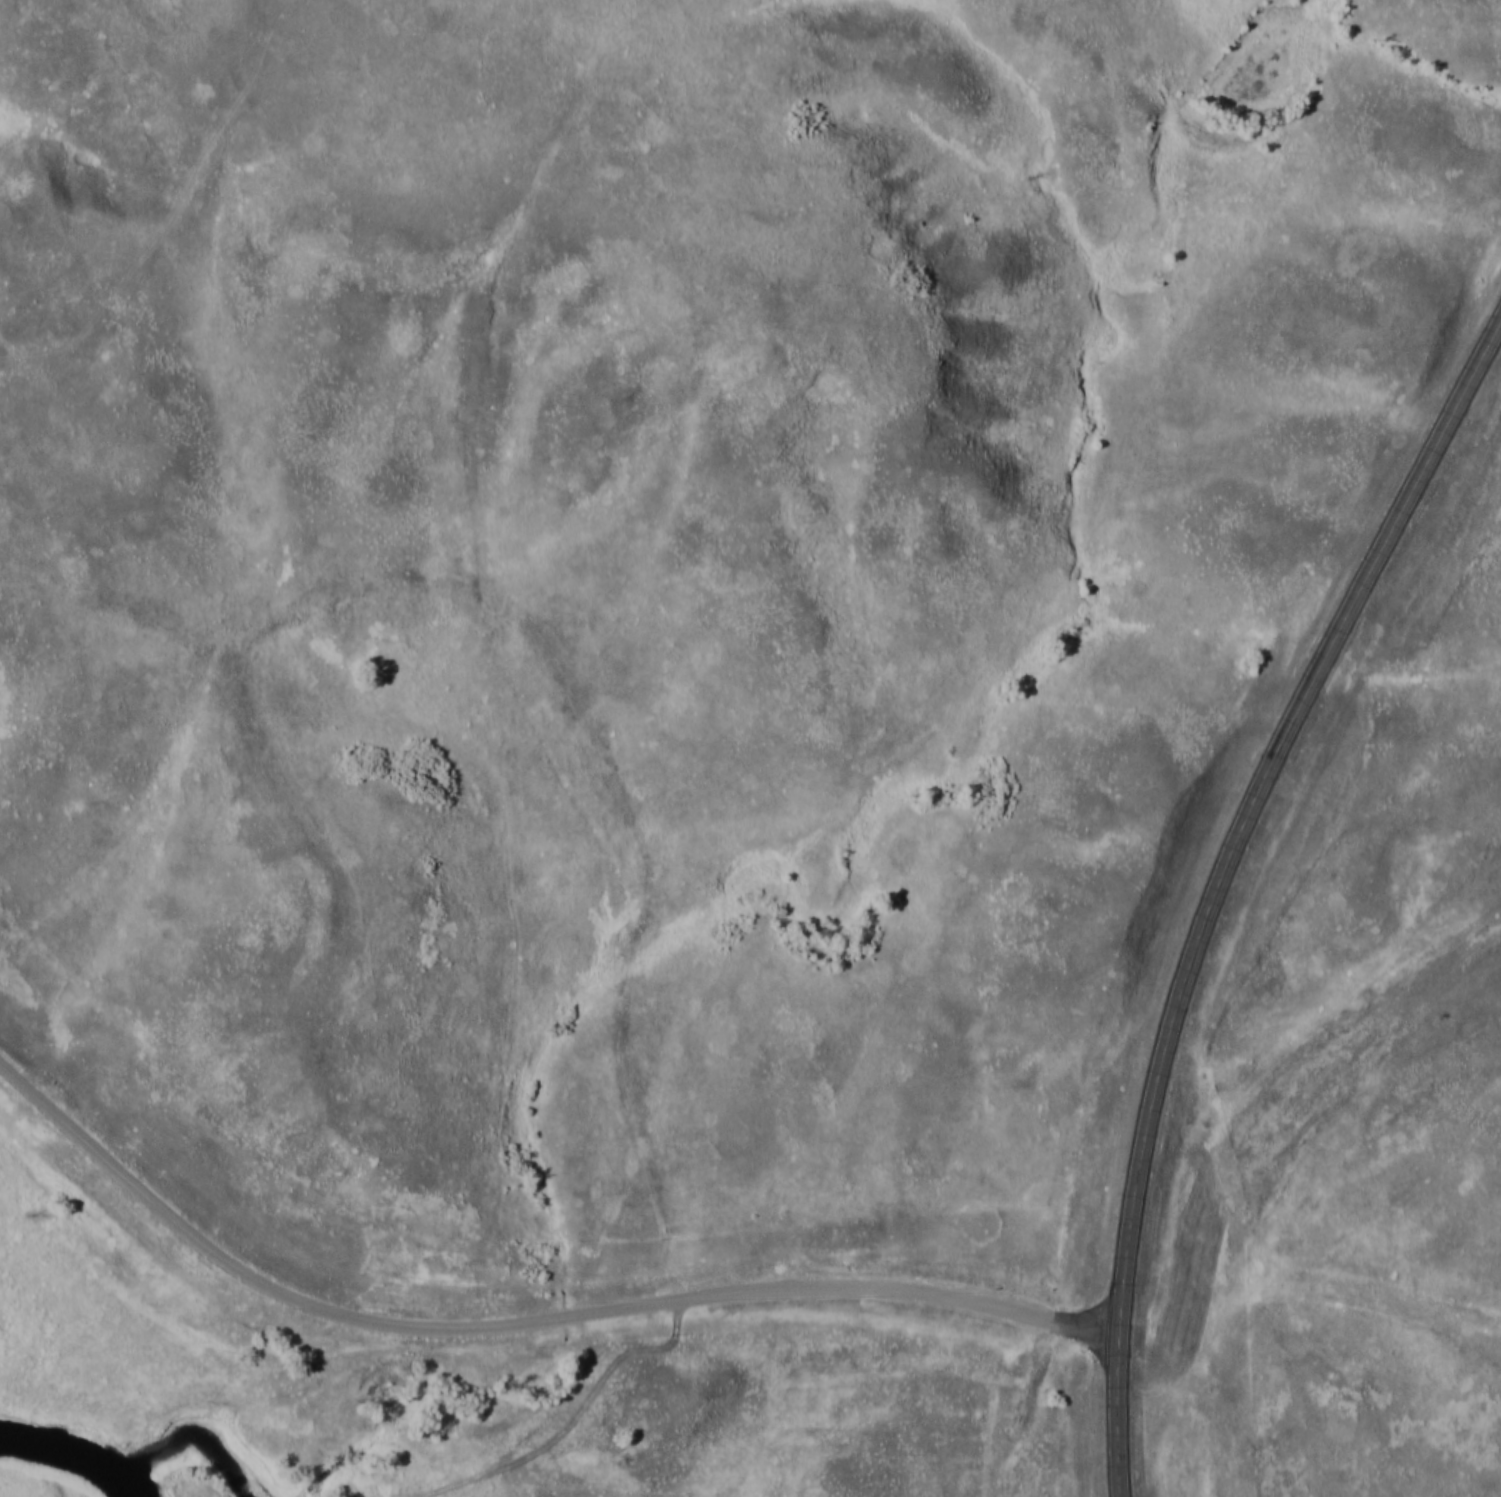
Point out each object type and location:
road: (1217, 881)
road: (520, 1320)
river: (69, 1454)

